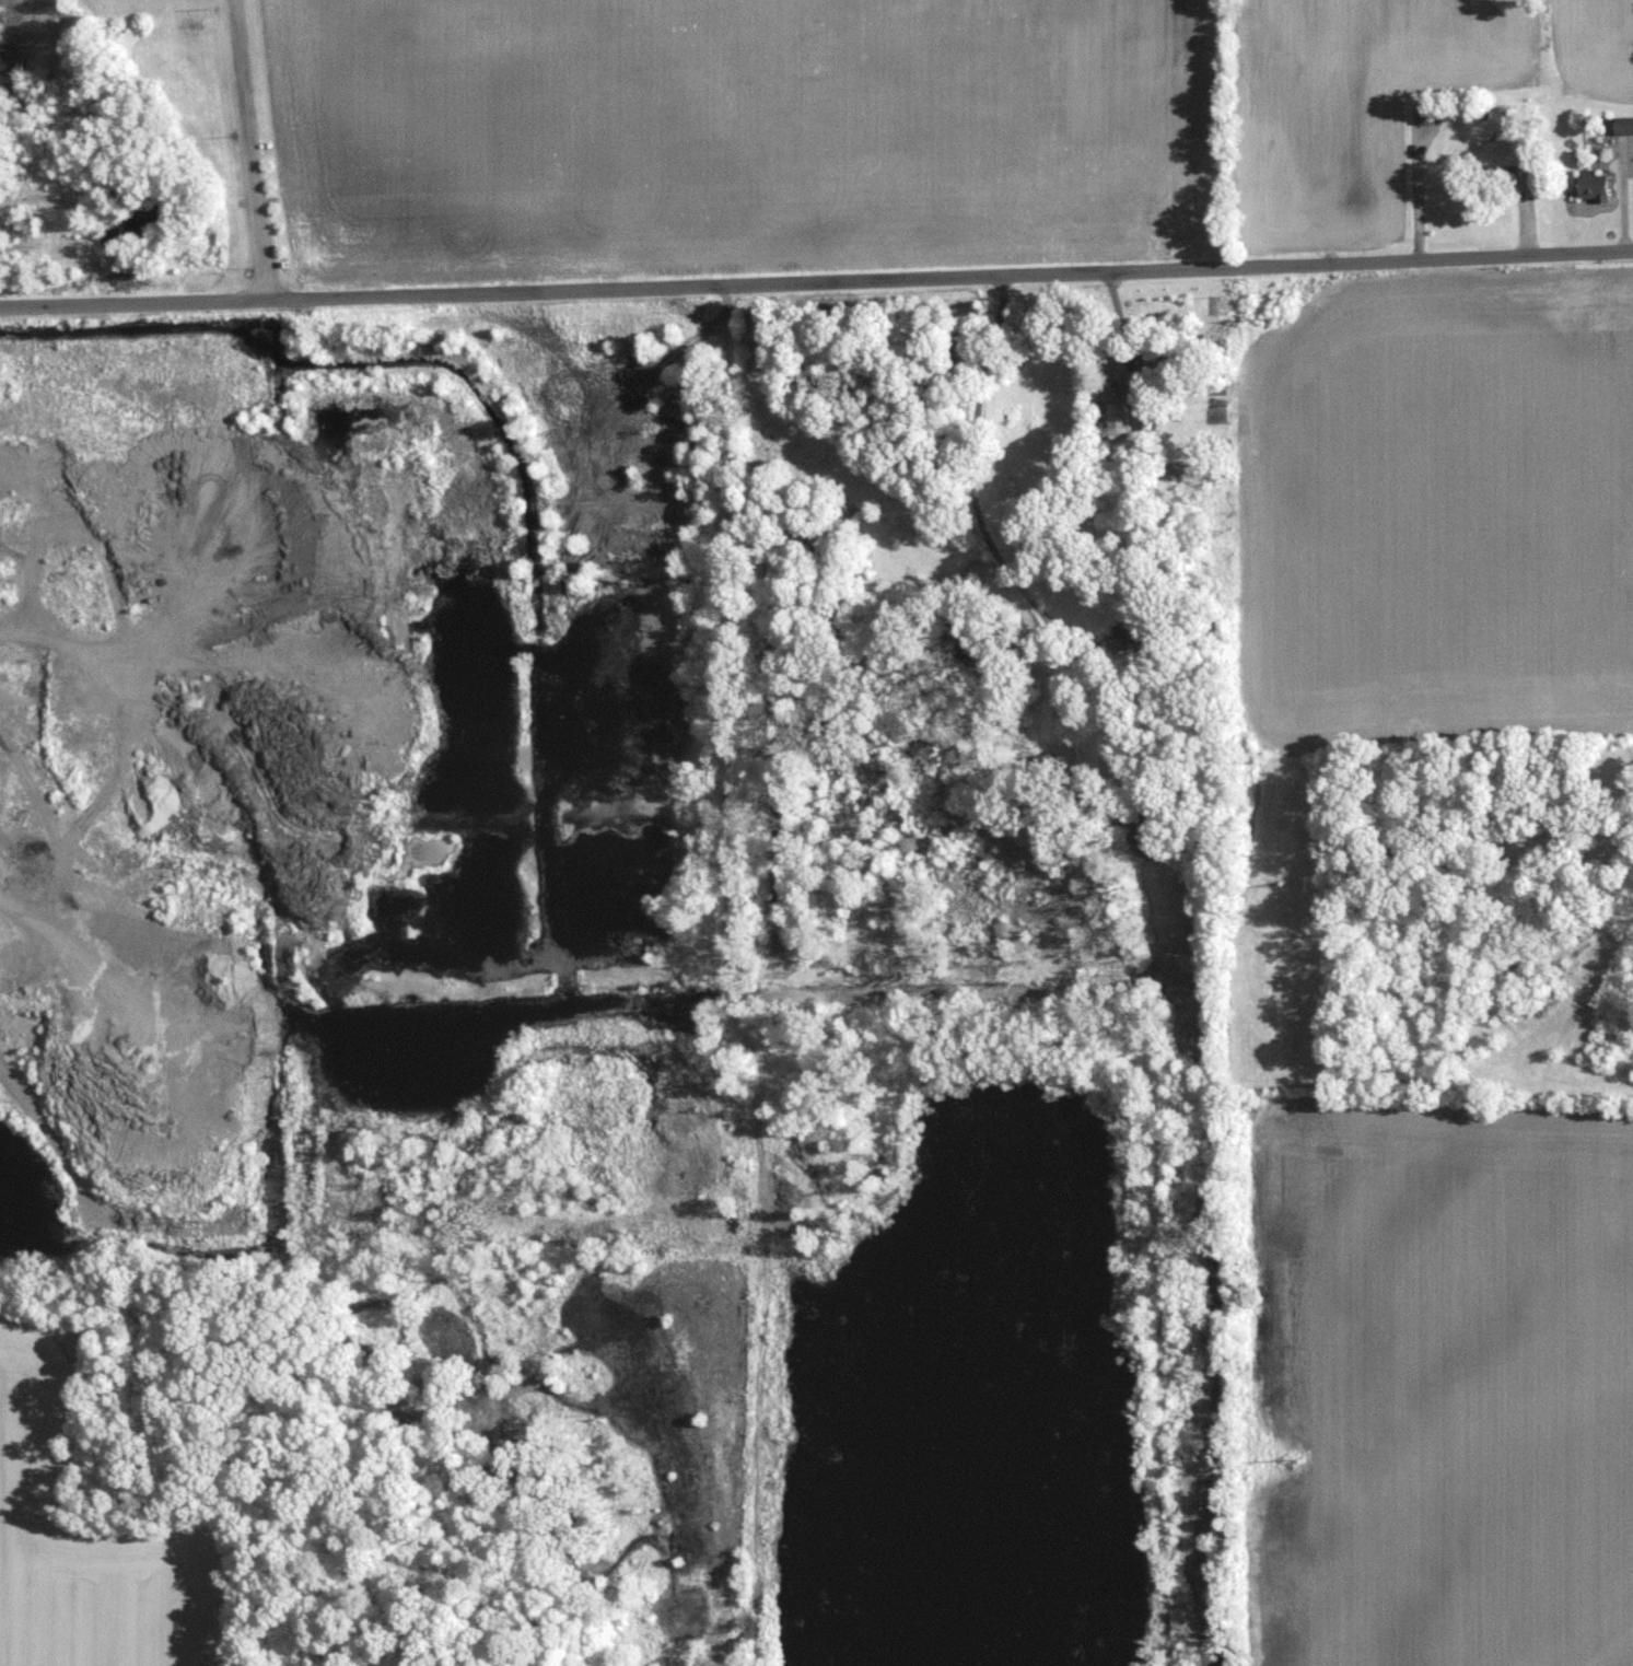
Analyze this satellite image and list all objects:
building: (1625, 142)
road: (248, 147)
building: (1503, 151)
building: (1593, 185)
road: (816, 276)
power tower: (1300, 318)
building: (1152, 381)
road: (968, 480)
building: (1136, 628)
power tower: (1298, 857)
quarry: (561, 967)
building: (821, 1059)
power tower: (1305, 1460)
crop: (90, 1546)

